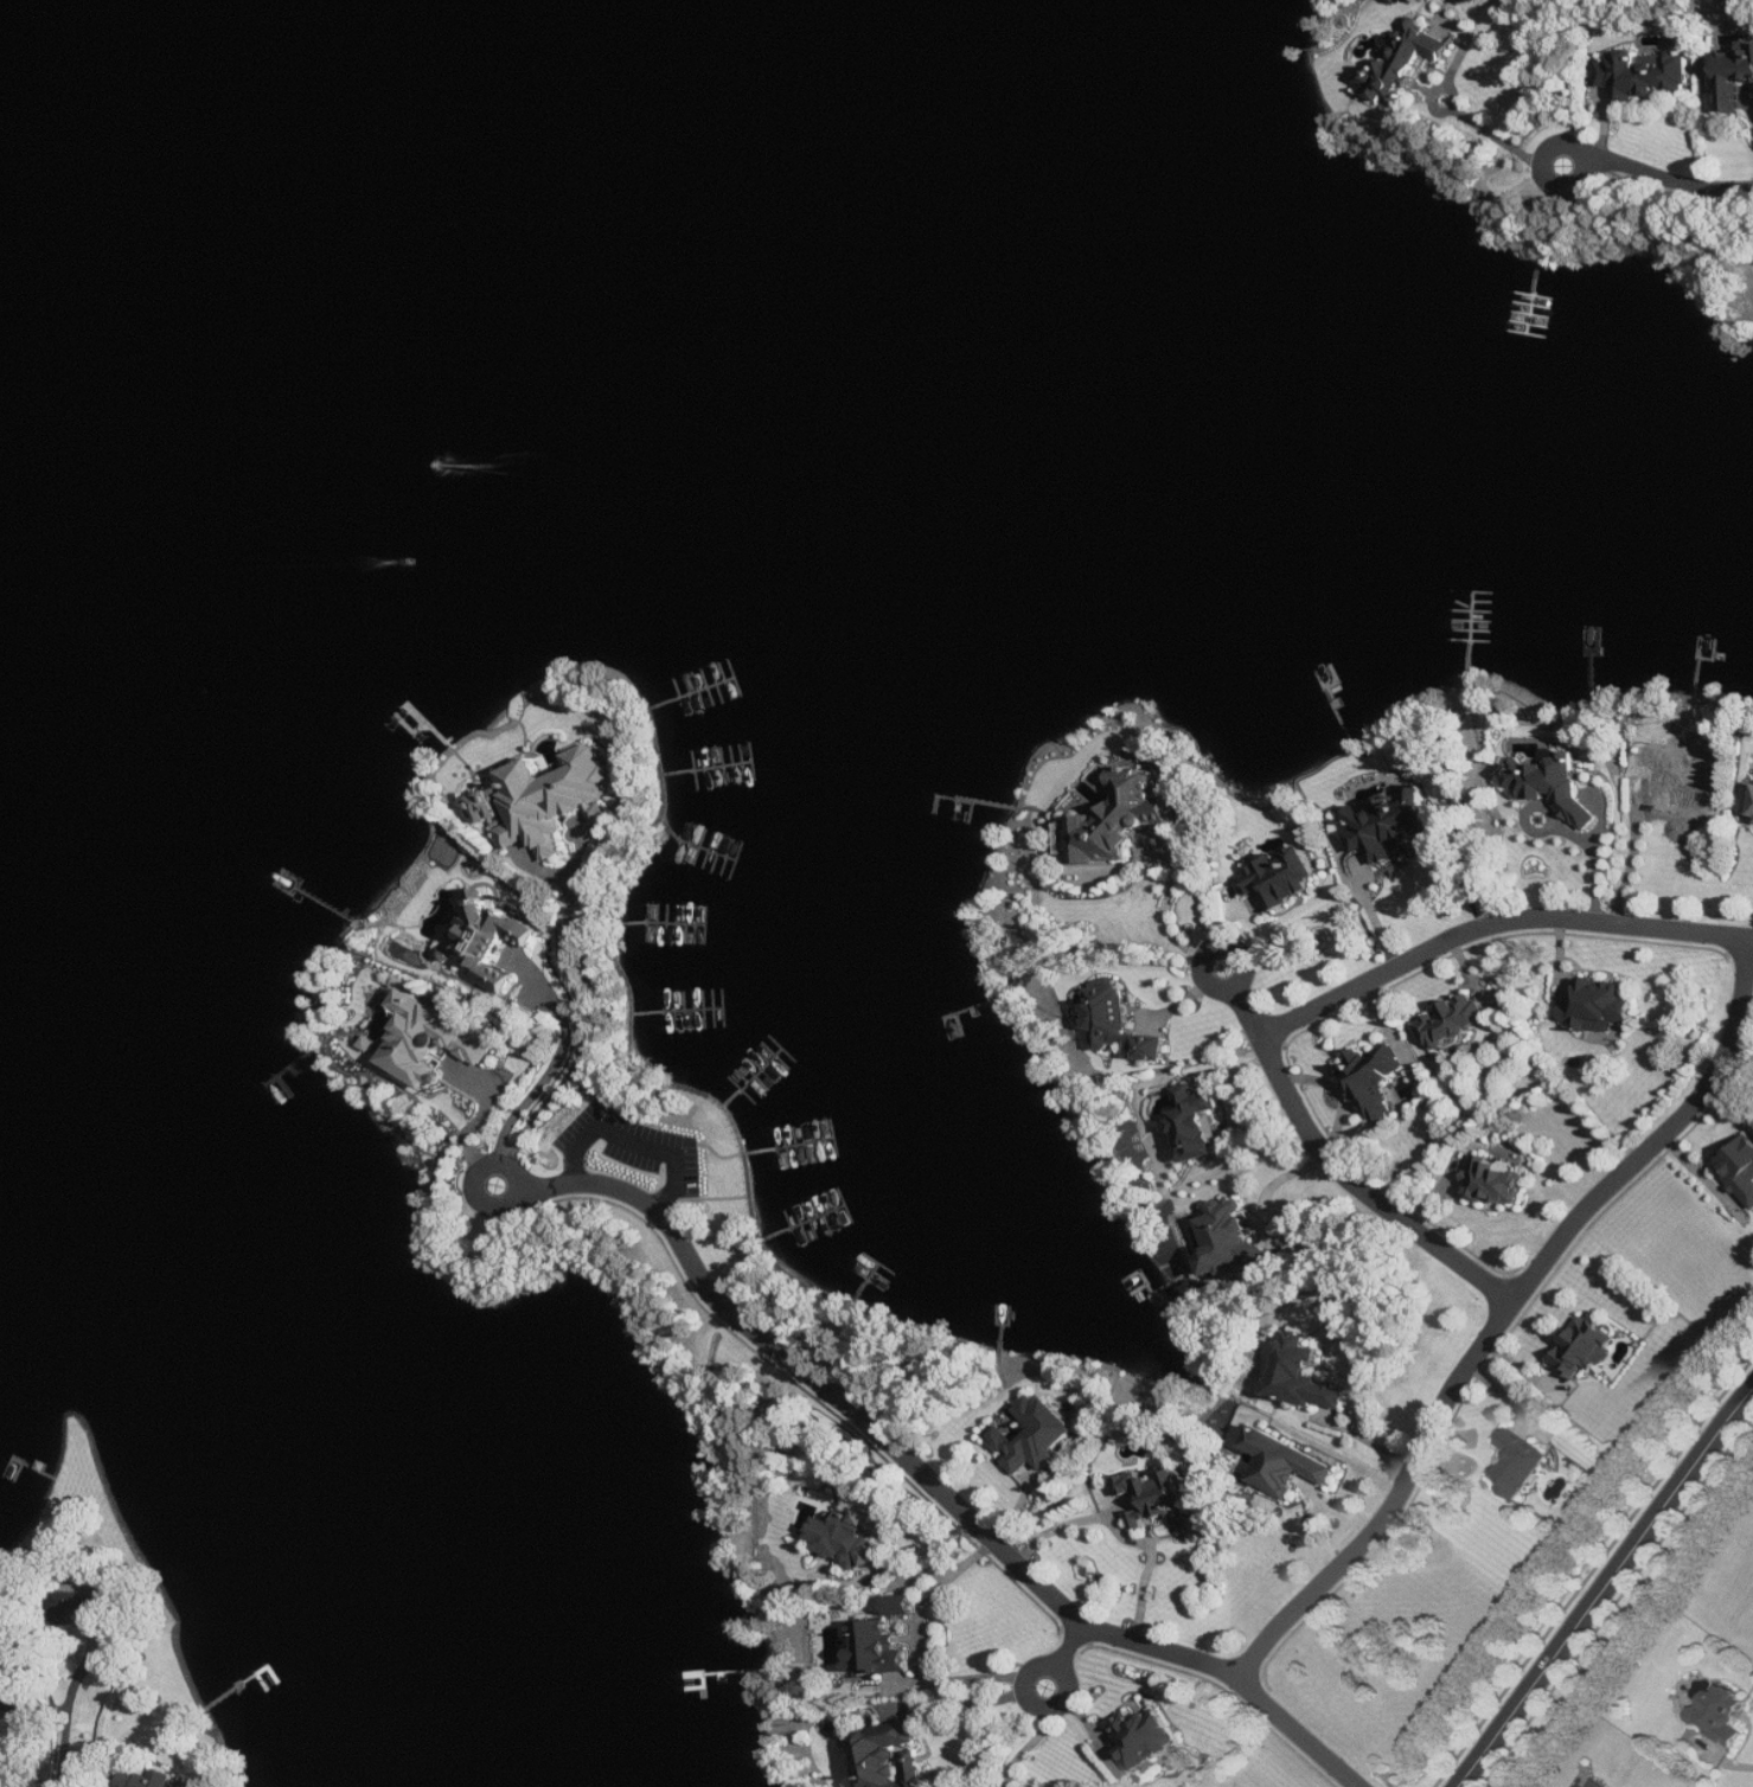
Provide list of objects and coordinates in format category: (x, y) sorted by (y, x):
building: (1402, 63)
building: (1644, 75)
building: (1735, 78)
road: (1492, 133)
road: (1589, 158)
road: (1670, 180)
pier: (693, 694)
pier: (709, 768)
building: (1681, 780)
building: (1553, 783)
building: (548, 800)
building: (1749, 801)
building: (1121, 818)
building: (1391, 824)
building: (1068, 839)
pier: (696, 844)
road: (1598, 851)
building: (1281, 877)
road: (1167, 902)
pier: (658, 923)
road: (1495, 923)
building: (494, 939)
road: (1216, 949)
building: (1600, 1006)
pier: (679, 1010)
road: (1249, 1013)
road: (588, 1016)
building: (1455, 1021)
building: (1122, 1025)
building: (433, 1040)
road: (558, 1061)
road: (632, 1062)
pier: (755, 1078)
building: (1374, 1081)
road: (610, 1091)
road: (484, 1114)
building: (1197, 1123)
road: (638, 1139)
pier: (791, 1146)
building: (1741, 1168)
road: (479, 1180)
building: (1495, 1183)
road: (1365, 1189)
road: (711, 1198)
pier: (804, 1223)
building: (1235, 1242)
pier: (869, 1282)
road: (1509, 1311)
building: (1586, 1349)
building: (1305, 1376)
road: (1367, 1437)
building: (1286, 1463)
building: (1518, 1465)
road: (935, 1480)
building: (1158, 1495)
road: (1319, 1509)
road: (1124, 1535)
building: (849, 1539)
road: (1606, 1588)
building: (903, 1606)
building: (88, 1608)
road: (917, 1644)
road: (1071, 1645)
building: (875, 1648)
road: (1060, 1667)
road: (972, 1700)
building: (15, 1709)
building: (1722, 1715)
building: (1144, 1737)
road: (65, 1746)
road: (1028, 1746)
building: (894, 1757)
building: (147, 1778)
building: (1594, 1785)

